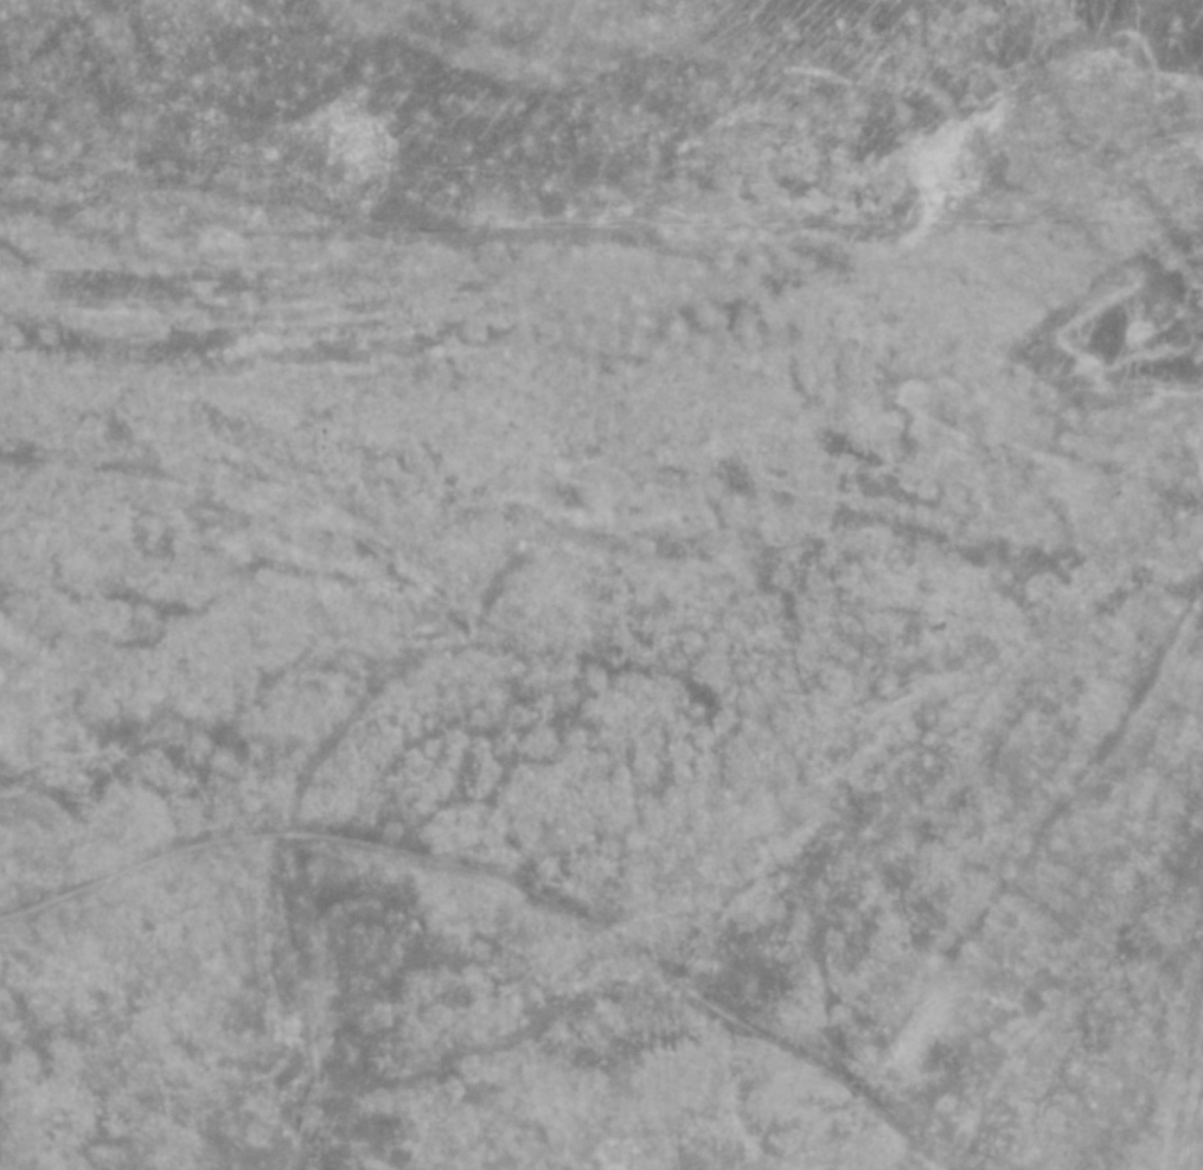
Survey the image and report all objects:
road: (493, 929)

